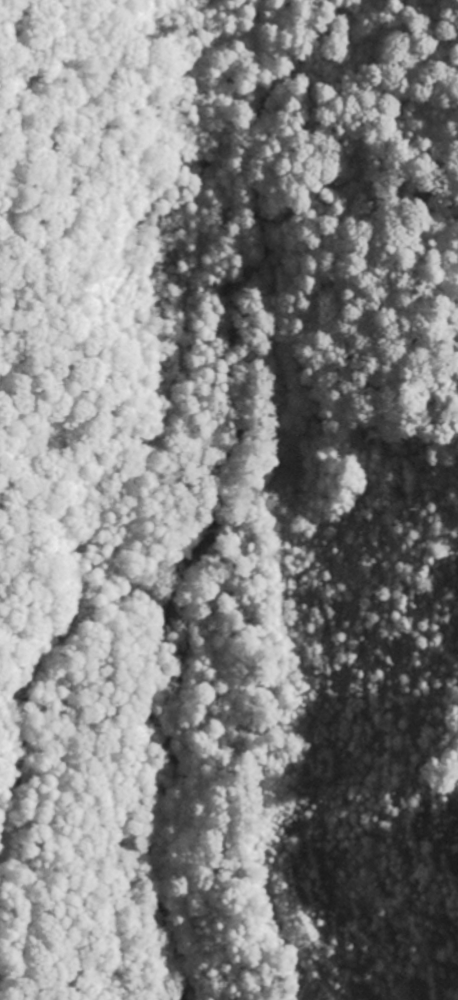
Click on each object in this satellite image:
road: (69, 809)

